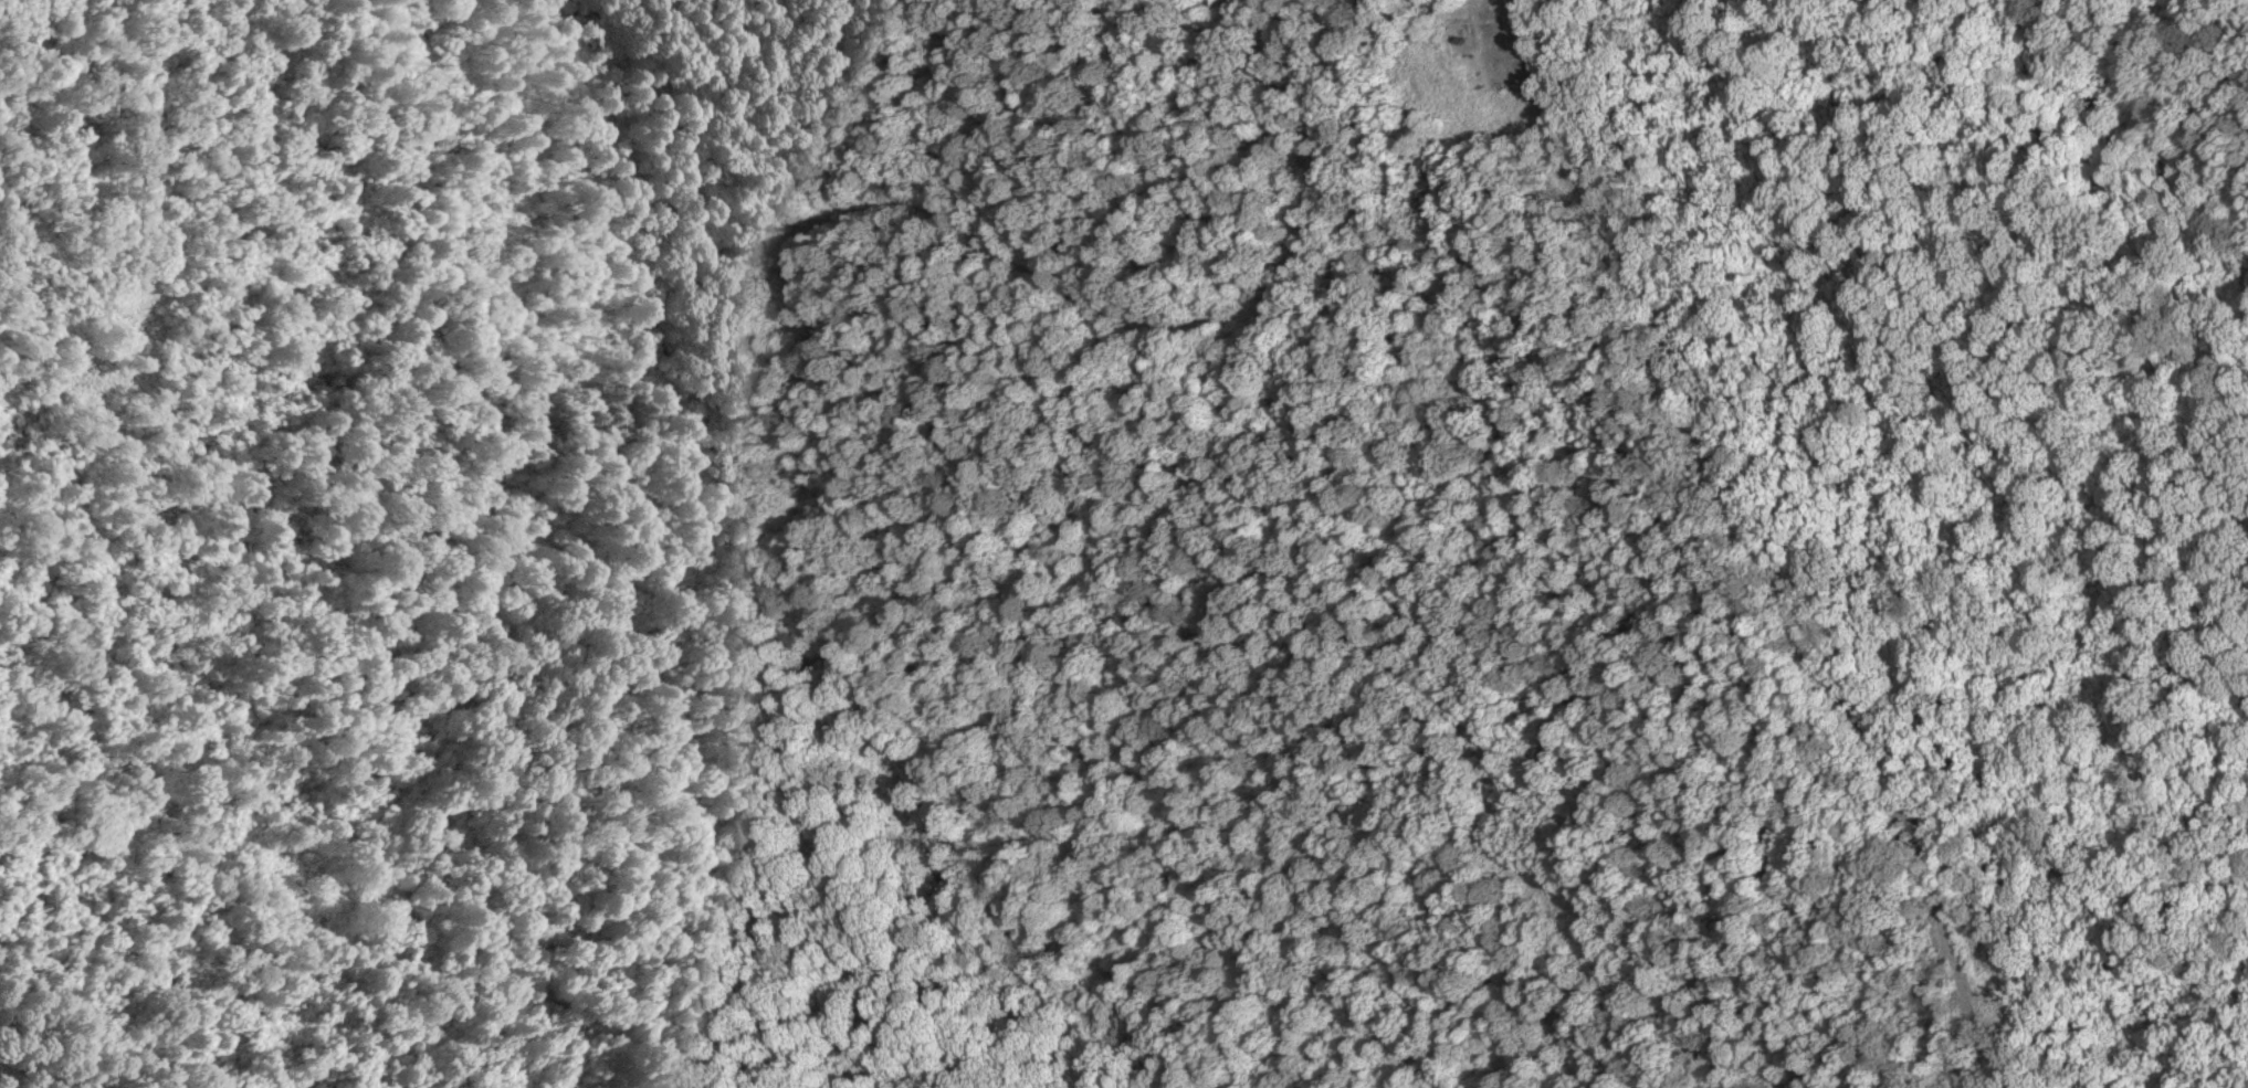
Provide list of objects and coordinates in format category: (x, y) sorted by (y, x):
road: (1162, 323)
road: (1752, 545)

